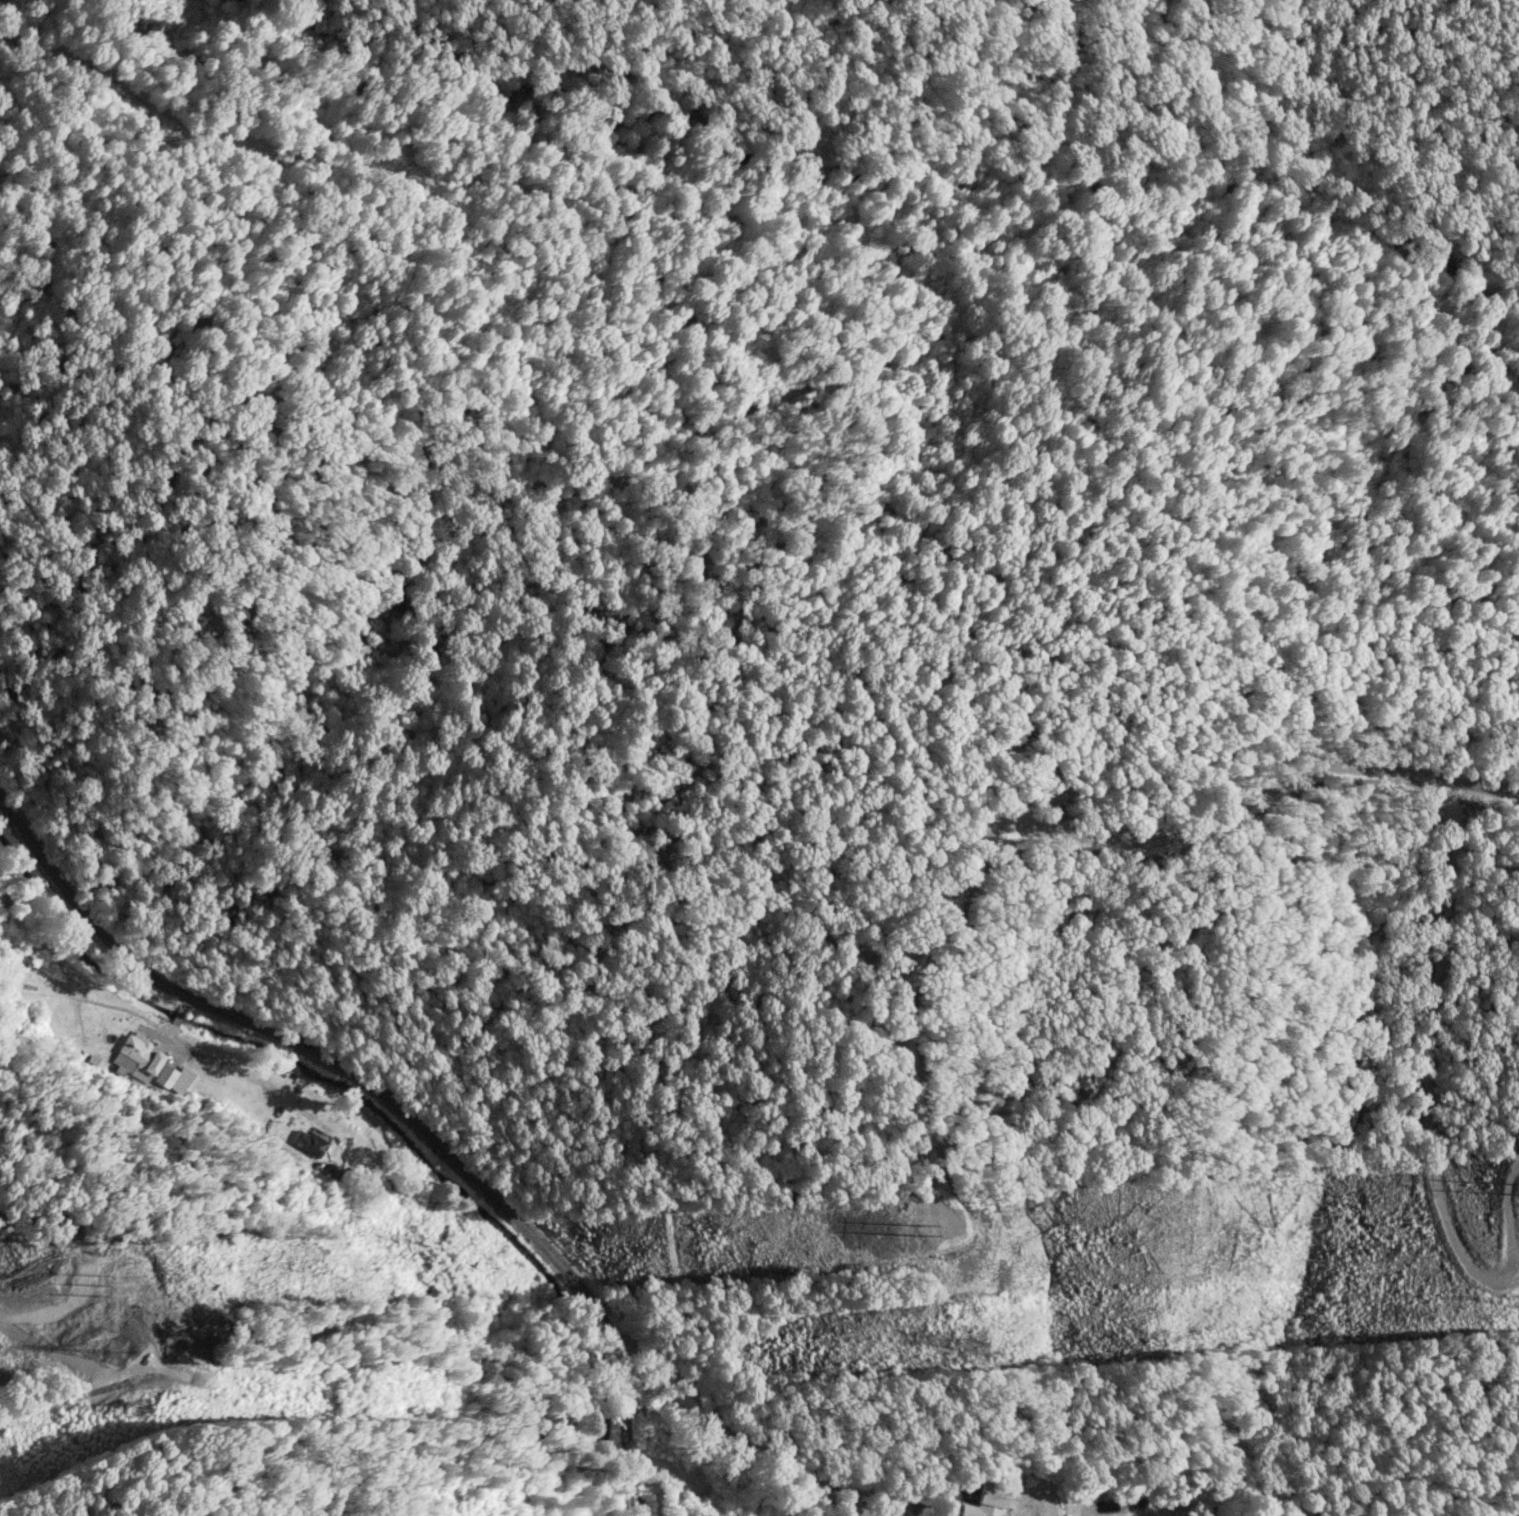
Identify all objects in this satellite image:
building: (164, 1076)
road: (391, 1092)
building: (308, 1142)
power tower: (970, 1343)
road: (759, 1450)
building: (985, 1501)

